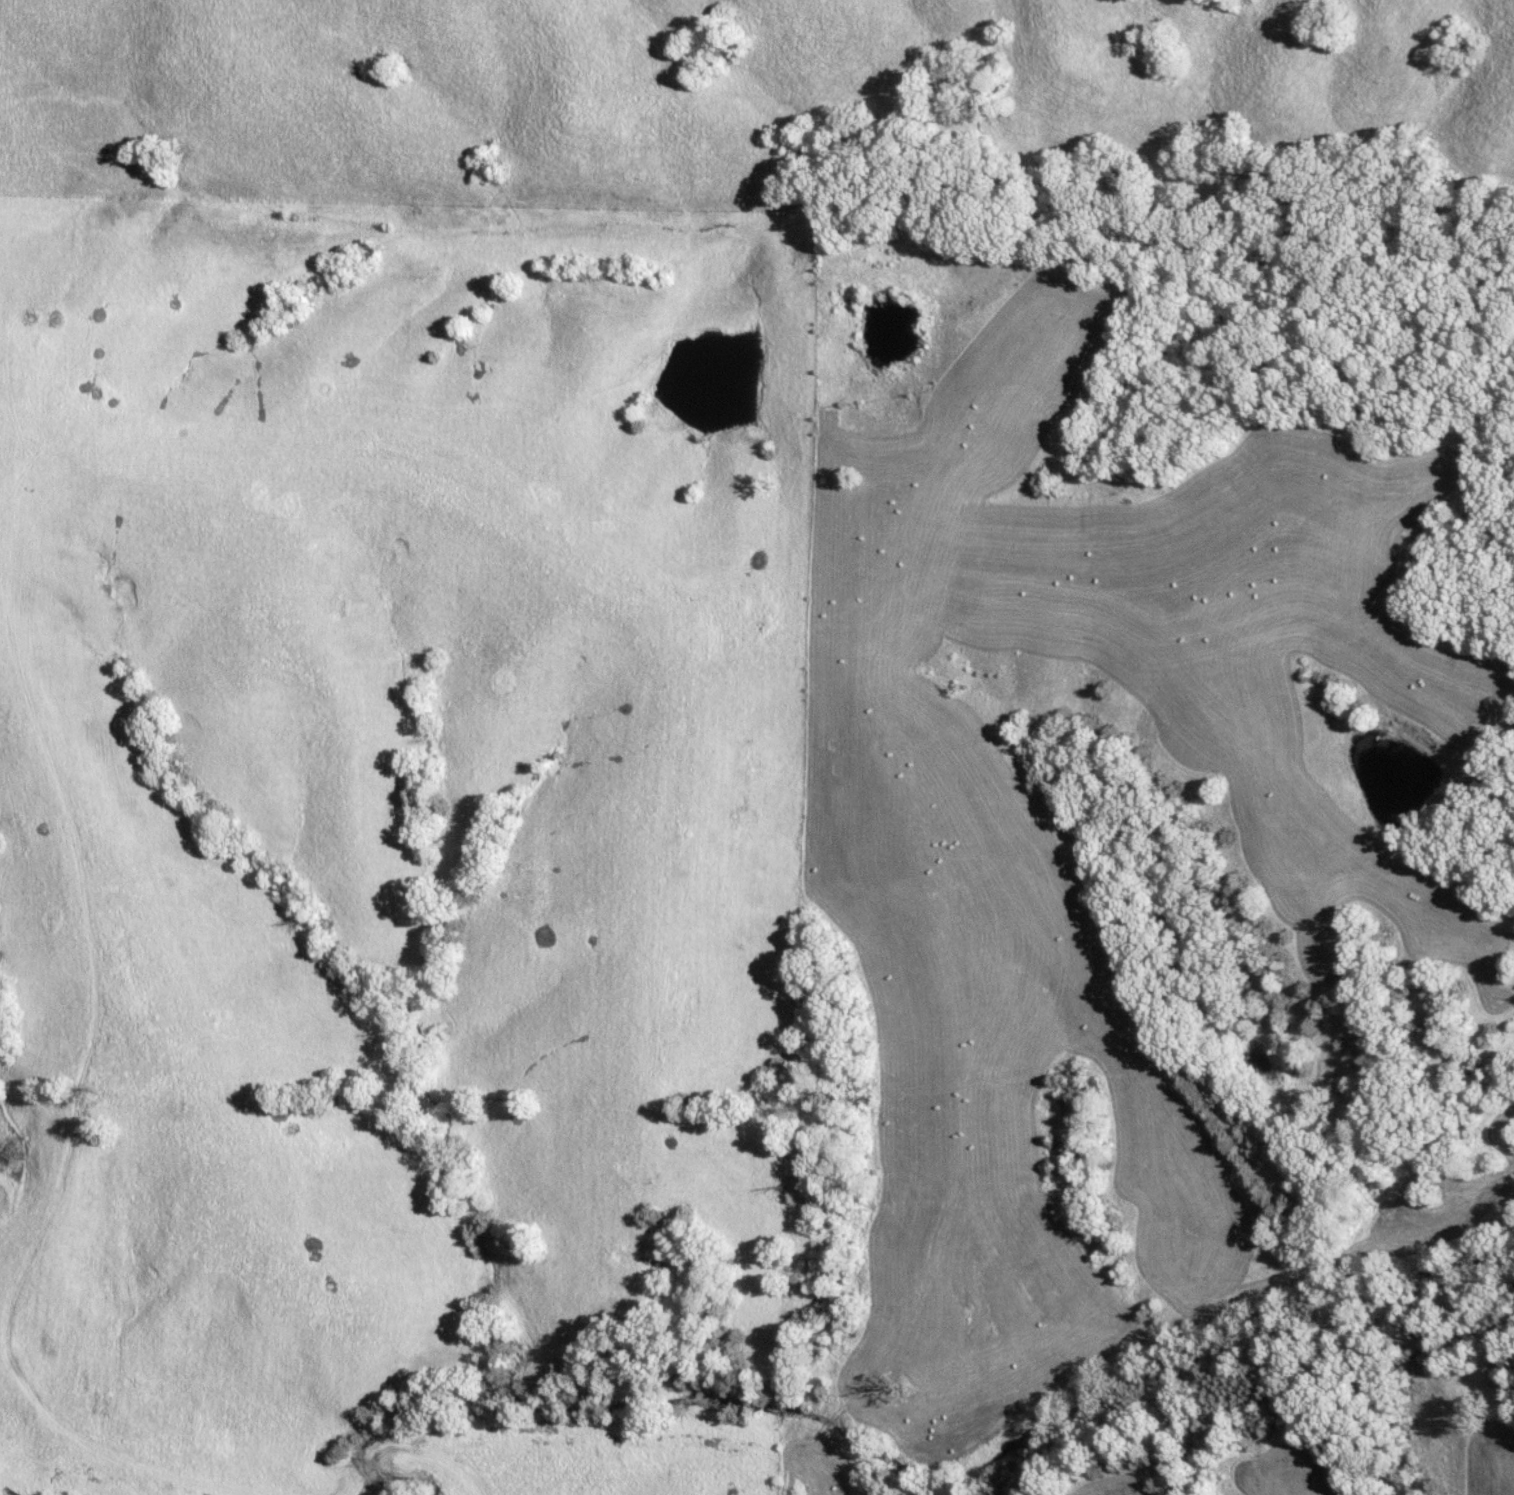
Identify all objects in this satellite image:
road: (929, 1300)
road: (537, 1440)

